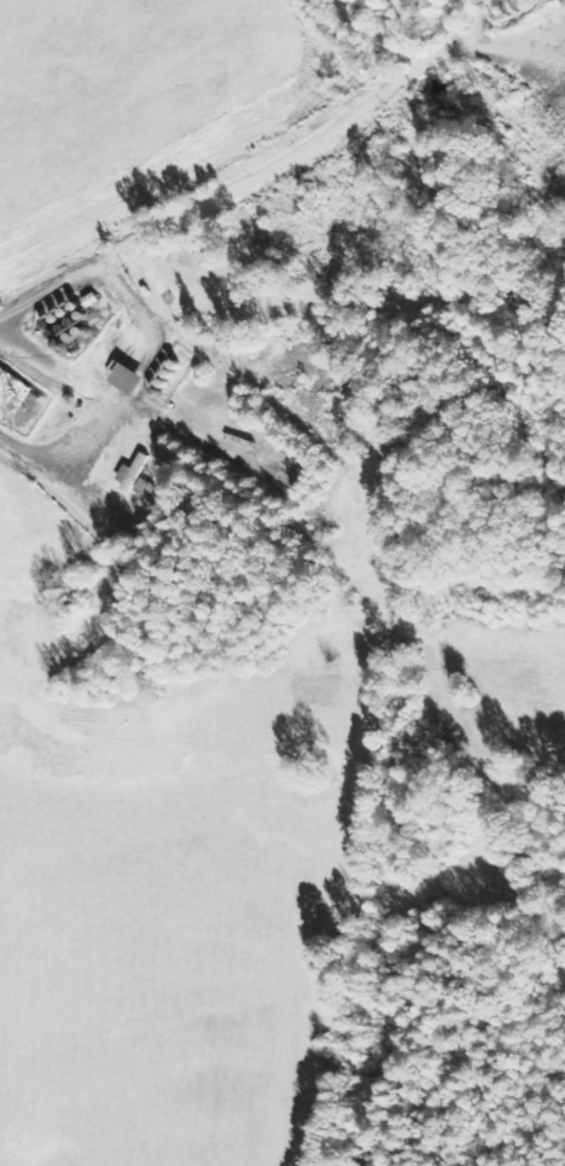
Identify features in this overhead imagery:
building: (136, 378)
building: (13, 390)
road: (113, 402)

